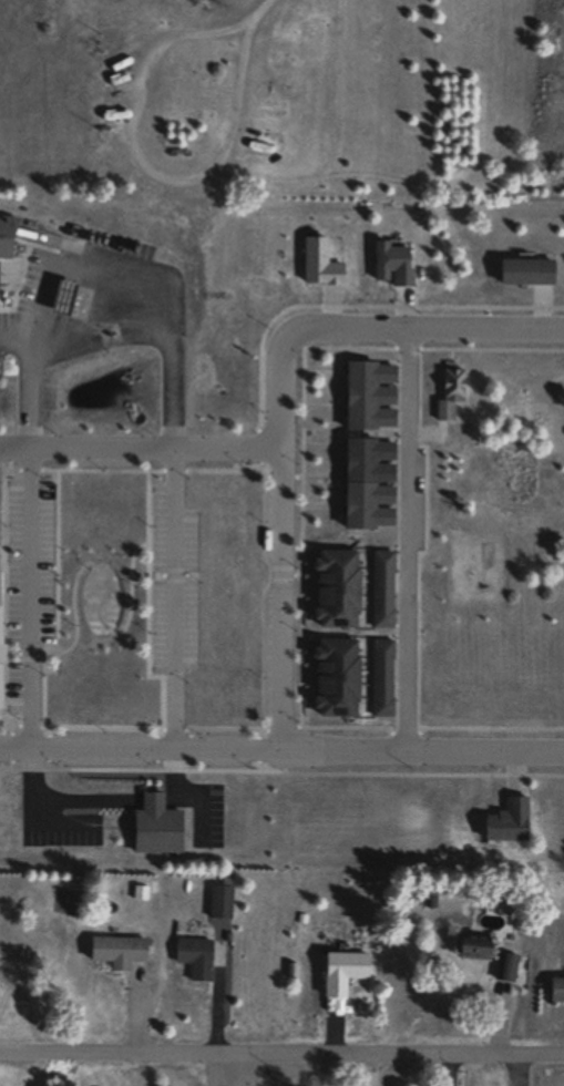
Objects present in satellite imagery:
building: (165, 60)
quarry: (280, 100)
building: (8, 239)
building: (4, 297)
road: (437, 329)
road: (112, 342)
building: (450, 396)
road: (140, 447)
road: (280, 531)
road: (408, 539)
building: (335, 590)
building: (381, 591)
building: (1, 636)
building: (335, 679)
building: (381, 679)
road: (281, 747)
building: (219, 903)
building: (471, 949)
building: (116, 952)
building: (192, 952)
building: (505, 967)
building: (342, 973)
building: (556, 990)
road: (281, 1053)

